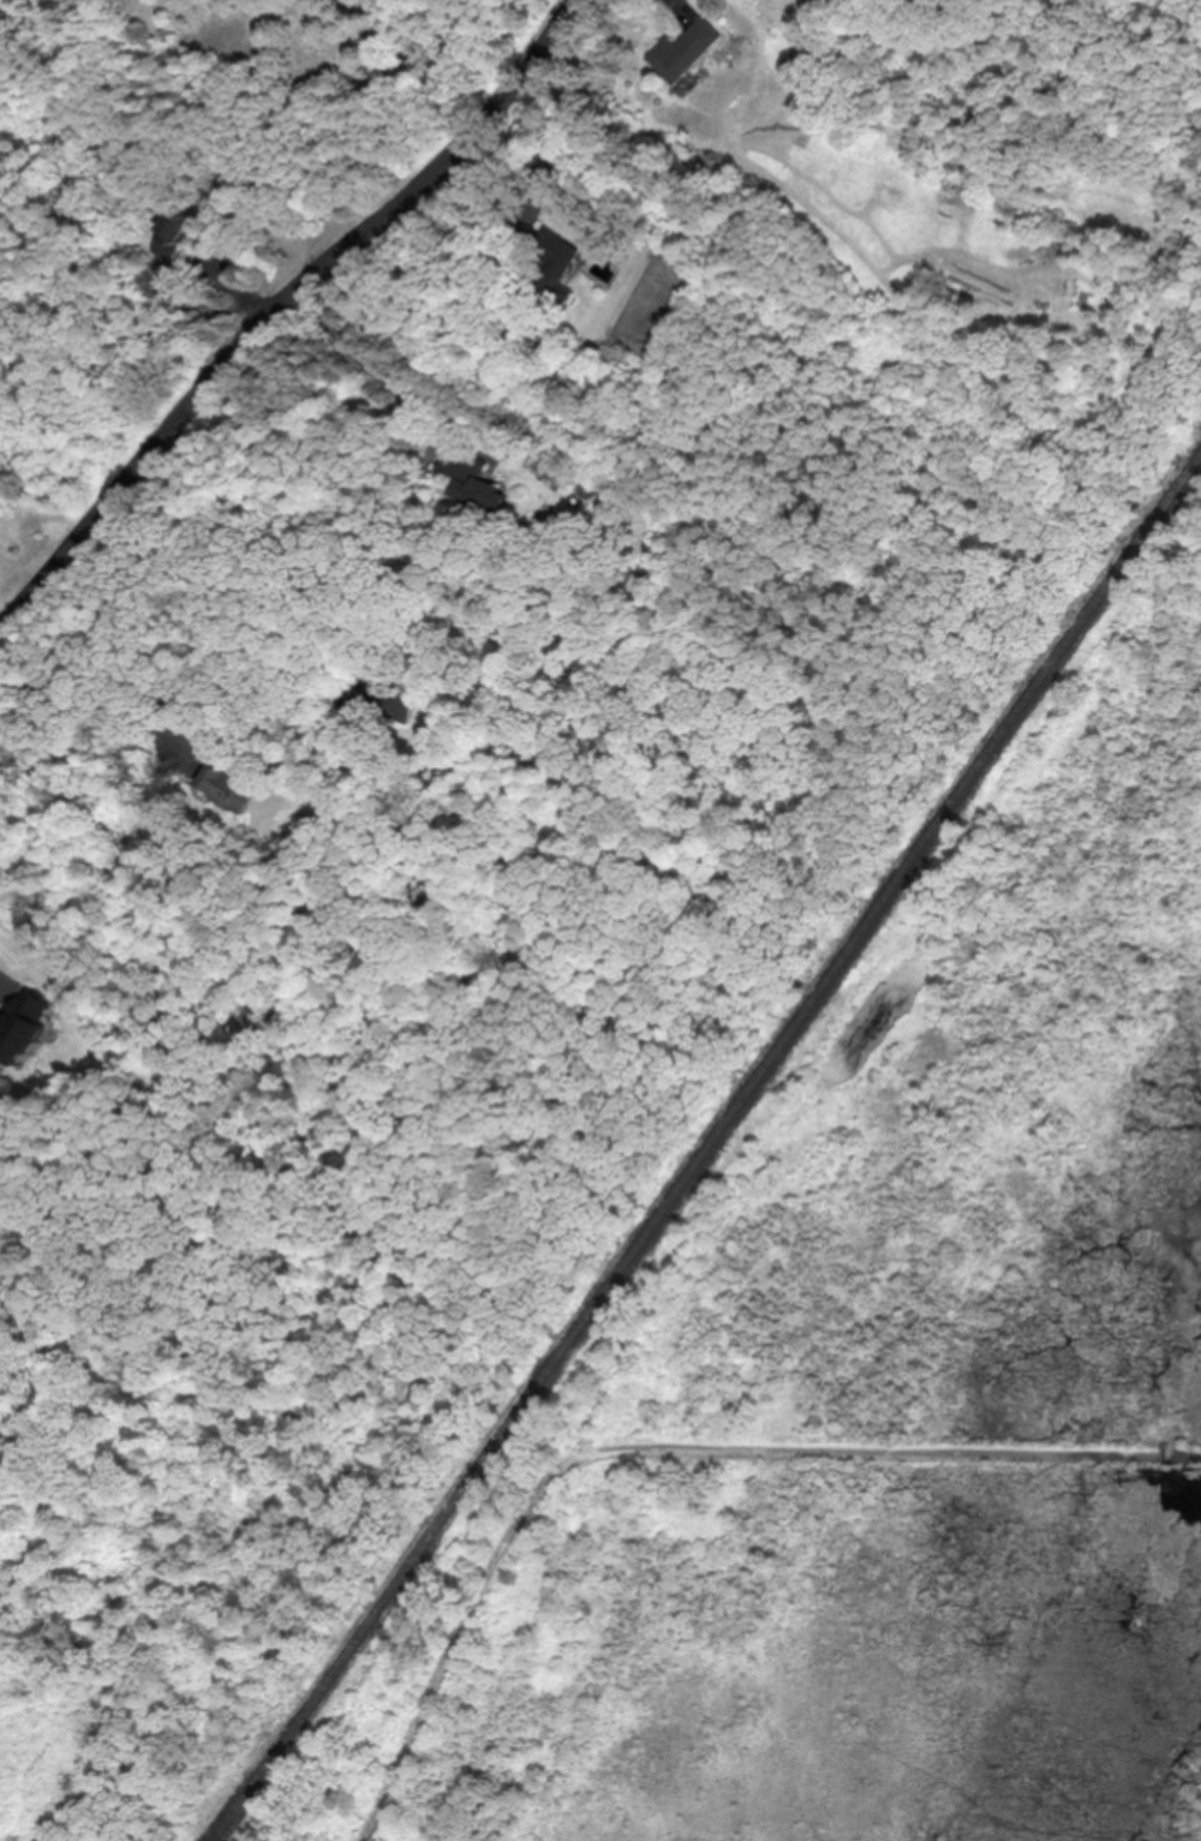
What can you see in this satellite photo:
building: (686, 48)
building: (179, 228)
building: (554, 262)
road: (280, 307)
road: (359, 357)
building: (474, 479)
road: (229, 597)
road: (77, 697)
building: (405, 697)
building: (234, 785)
road: (0, 975)
railway: (705, 1148)
park: (758, 1389)
road: (665, 1451)

